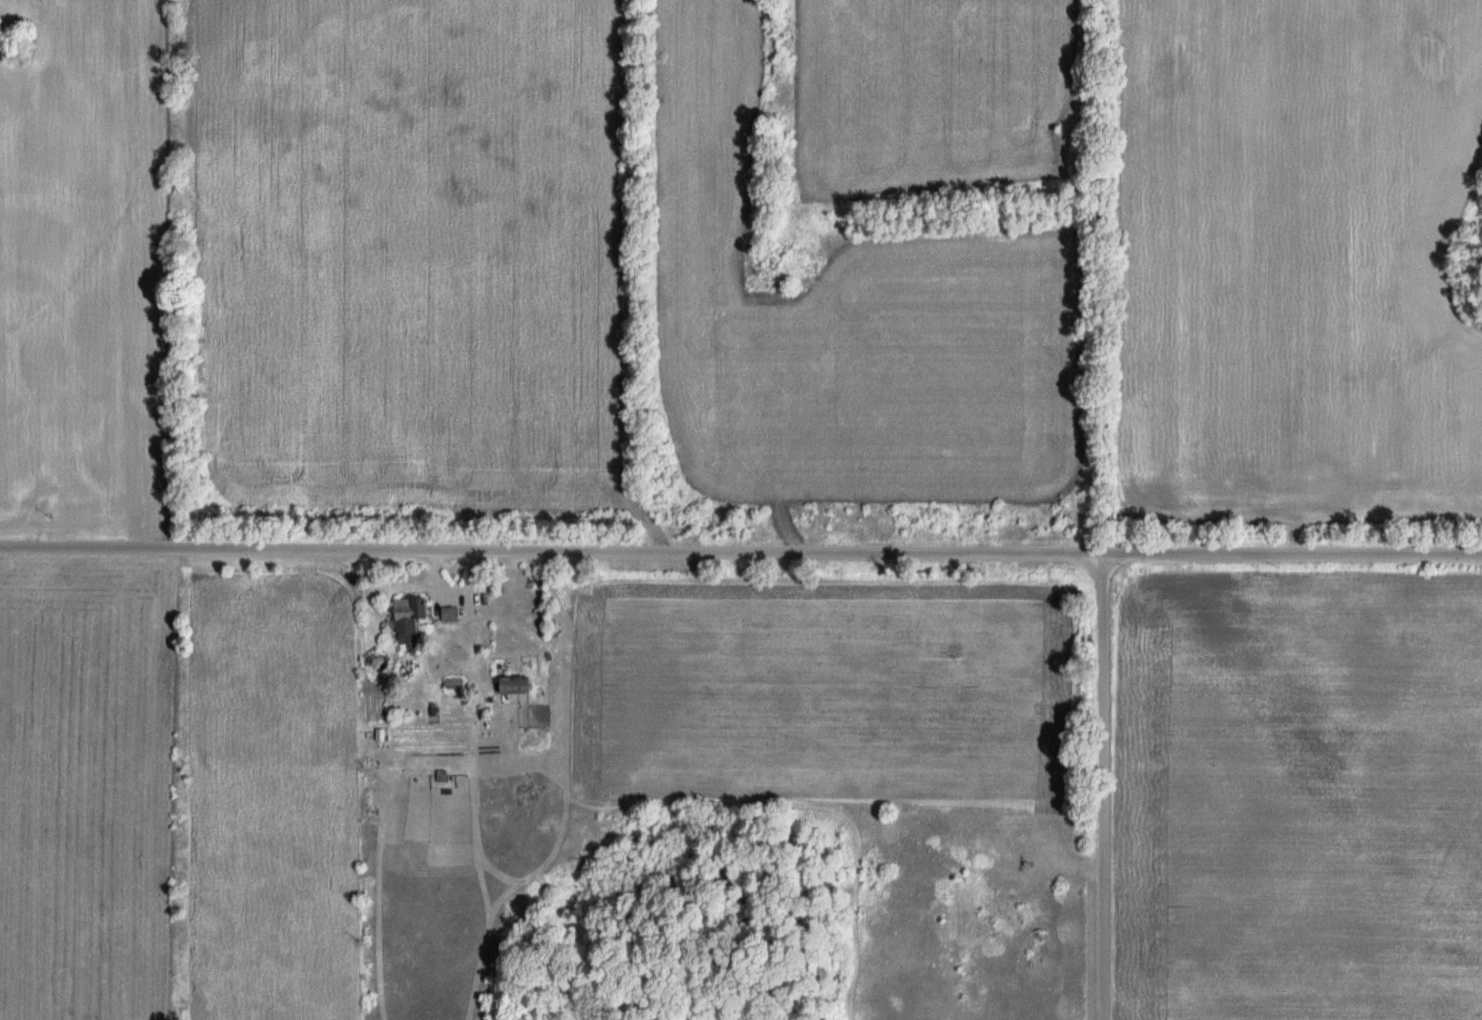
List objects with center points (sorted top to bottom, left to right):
road: (741, 550)
building: (451, 614)
building: (410, 621)
building: (517, 684)
road: (1104, 786)

